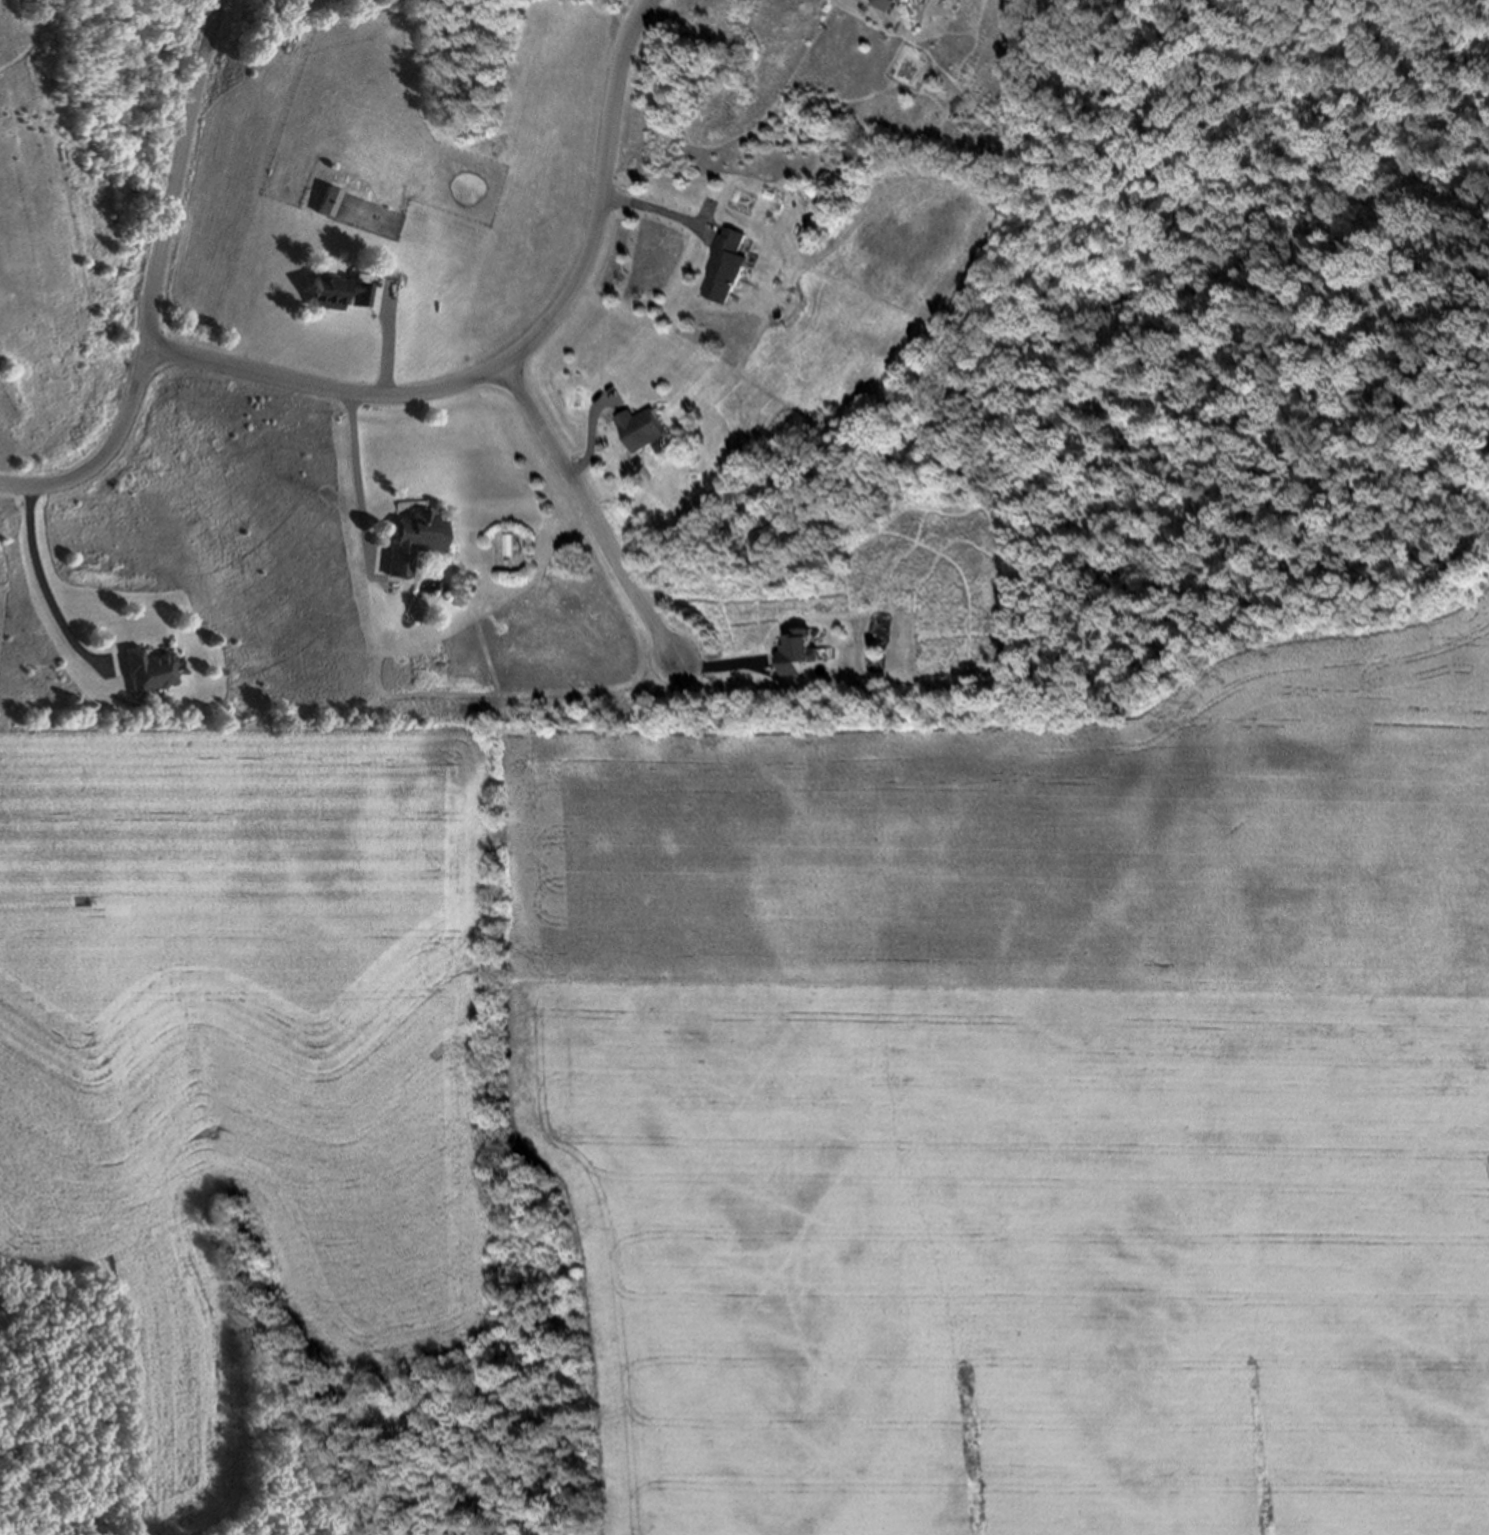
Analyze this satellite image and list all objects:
building: (917, 0)
building: (896, 7)
building: (327, 204)
road: (654, 205)
building: (726, 270)
road: (152, 283)
building: (339, 295)
road: (391, 347)
road: (516, 356)
building: (642, 430)
road: (596, 437)
road: (363, 476)
road: (587, 515)
building: (414, 545)
road: (41, 585)
building: (798, 655)
road: (721, 663)
building: (148, 672)

